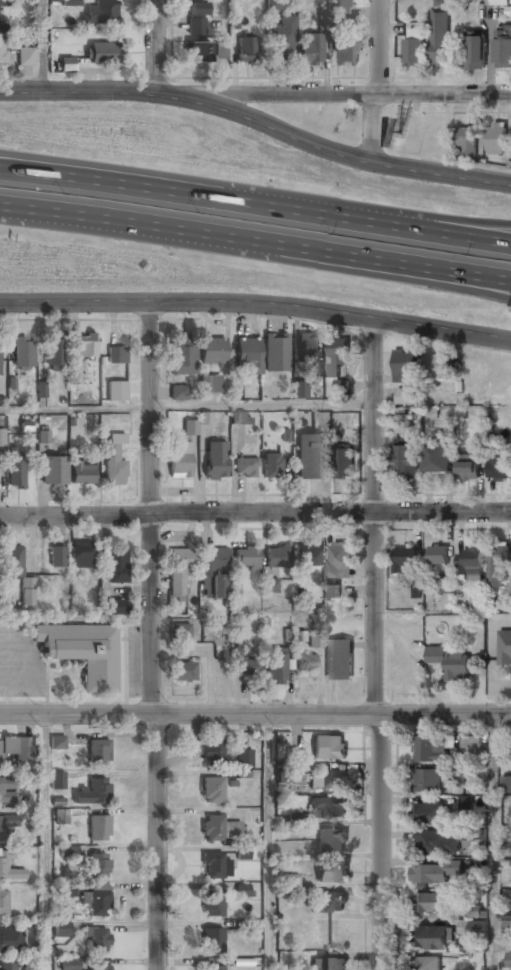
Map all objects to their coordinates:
building: (499, 2)
building: (4, 3)
building: (71, 3)
building: (273, 4)
building: (341, 7)
building: (100, 14)
building: (195, 18)
building: (339, 24)
building: (284, 38)
building: (440, 40)
road: (39, 45)
road: (151, 45)
road: (375, 46)
building: (413, 48)
building: (221, 49)
building: (311, 49)
building: (247, 50)
building: (345, 51)
building: (503, 51)
building: (474, 52)
building: (2, 53)
building: (198, 53)
building: (104, 54)
building: (25, 57)
road: (75, 90)
road: (331, 91)
road: (372, 123)
building: (496, 139)
building: (466, 141)
road: (328, 145)
road: (127, 171)
road: (125, 185)
road: (12, 206)
road: (12, 210)
road: (319, 213)
road: (449, 218)
road: (134, 224)
road: (449, 231)
road: (377, 259)
road: (374, 274)
road: (256, 307)
building: (86, 346)
building: (310, 349)
building: (212, 352)
building: (23, 353)
building: (276, 354)
building: (54, 355)
building: (117, 355)
building: (248, 355)
building: (337, 355)
building: (183, 356)
building: (406, 367)
building: (437, 367)
building: (74, 375)
building: (209, 385)
building: (342, 387)
building: (41, 389)
building: (299, 390)
building: (178, 393)
building: (121, 397)
building: (410, 397)
road: (186, 408)
building: (205, 418)
building: (238, 419)
building: (403, 427)
building: (189, 428)
building: (43, 436)
building: (1, 439)
building: (311, 458)
building: (438, 459)
building: (180, 460)
building: (405, 460)
building: (114, 461)
building: (215, 461)
building: (343, 461)
building: (271, 467)
building: (499, 467)
building: (468, 468)
building: (245, 469)
building: (53, 473)
building: (82, 473)
building: (16, 474)
road: (255, 515)
building: (438, 555)
building: (81, 556)
building: (309, 557)
building: (57, 558)
building: (247, 558)
building: (277, 558)
building: (339, 559)
building: (404, 561)
building: (469, 563)
building: (497, 567)
building: (117, 568)
building: (180, 571)
building: (19, 573)
building: (214, 574)
building: (443, 586)
building: (270, 587)
building: (332, 593)
building: (504, 602)
building: (114, 608)
building: (180, 633)
road: (150, 636)
building: (315, 641)
road: (382, 644)
building: (505, 648)
building: (83, 651)
building: (338, 659)
building: (450, 661)
building: (305, 663)
building: (244, 665)
building: (276, 669)
building: (182, 672)
road: (255, 715)
building: (57, 742)
building: (329, 747)
building: (14, 749)
building: (428, 749)
building: (473, 749)
building: (98, 753)
building: (212, 753)
building: (292, 755)
building: (243, 759)
building: (457, 771)
building: (57, 780)
building: (327, 780)
building: (426, 781)
building: (506, 784)
building: (211, 791)
building: (5, 794)
building: (93, 794)
building: (466, 803)
building: (328, 807)
building: (430, 814)
building: (60, 817)
building: (7, 823)
building: (219, 829)
building: (98, 830)
building: (473, 833)
building: (506, 833)
road: (45, 842)
building: (331, 842)
building: (437, 842)
road: (269, 843)
road: (494, 843)
building: (68, 852)
building: (242, 853)
building: (3, 863)
building: (99, 866)
building: (215, 866)
building: (332, 873)
building: (429, 874)
building: (291, 882)
building: (67, 890)
building: (243, 890)
building: (97, 902)
building: (3, 903)
building: (329, 903)
building: (431, 903)
building: (213, 905)
building: (474, 911)
building: (478, 928)
building: (62, 929)
building: (506, 935)
building: (434, 937)
building: (11, 939)
building: (97, 941)
building: (212, 941)
building: (510, 961)
building: (429, 963)
building: (70, 964)
building: (330, 964)
building: (8, 967)
building: (99, 968)
building: (212, 969)

